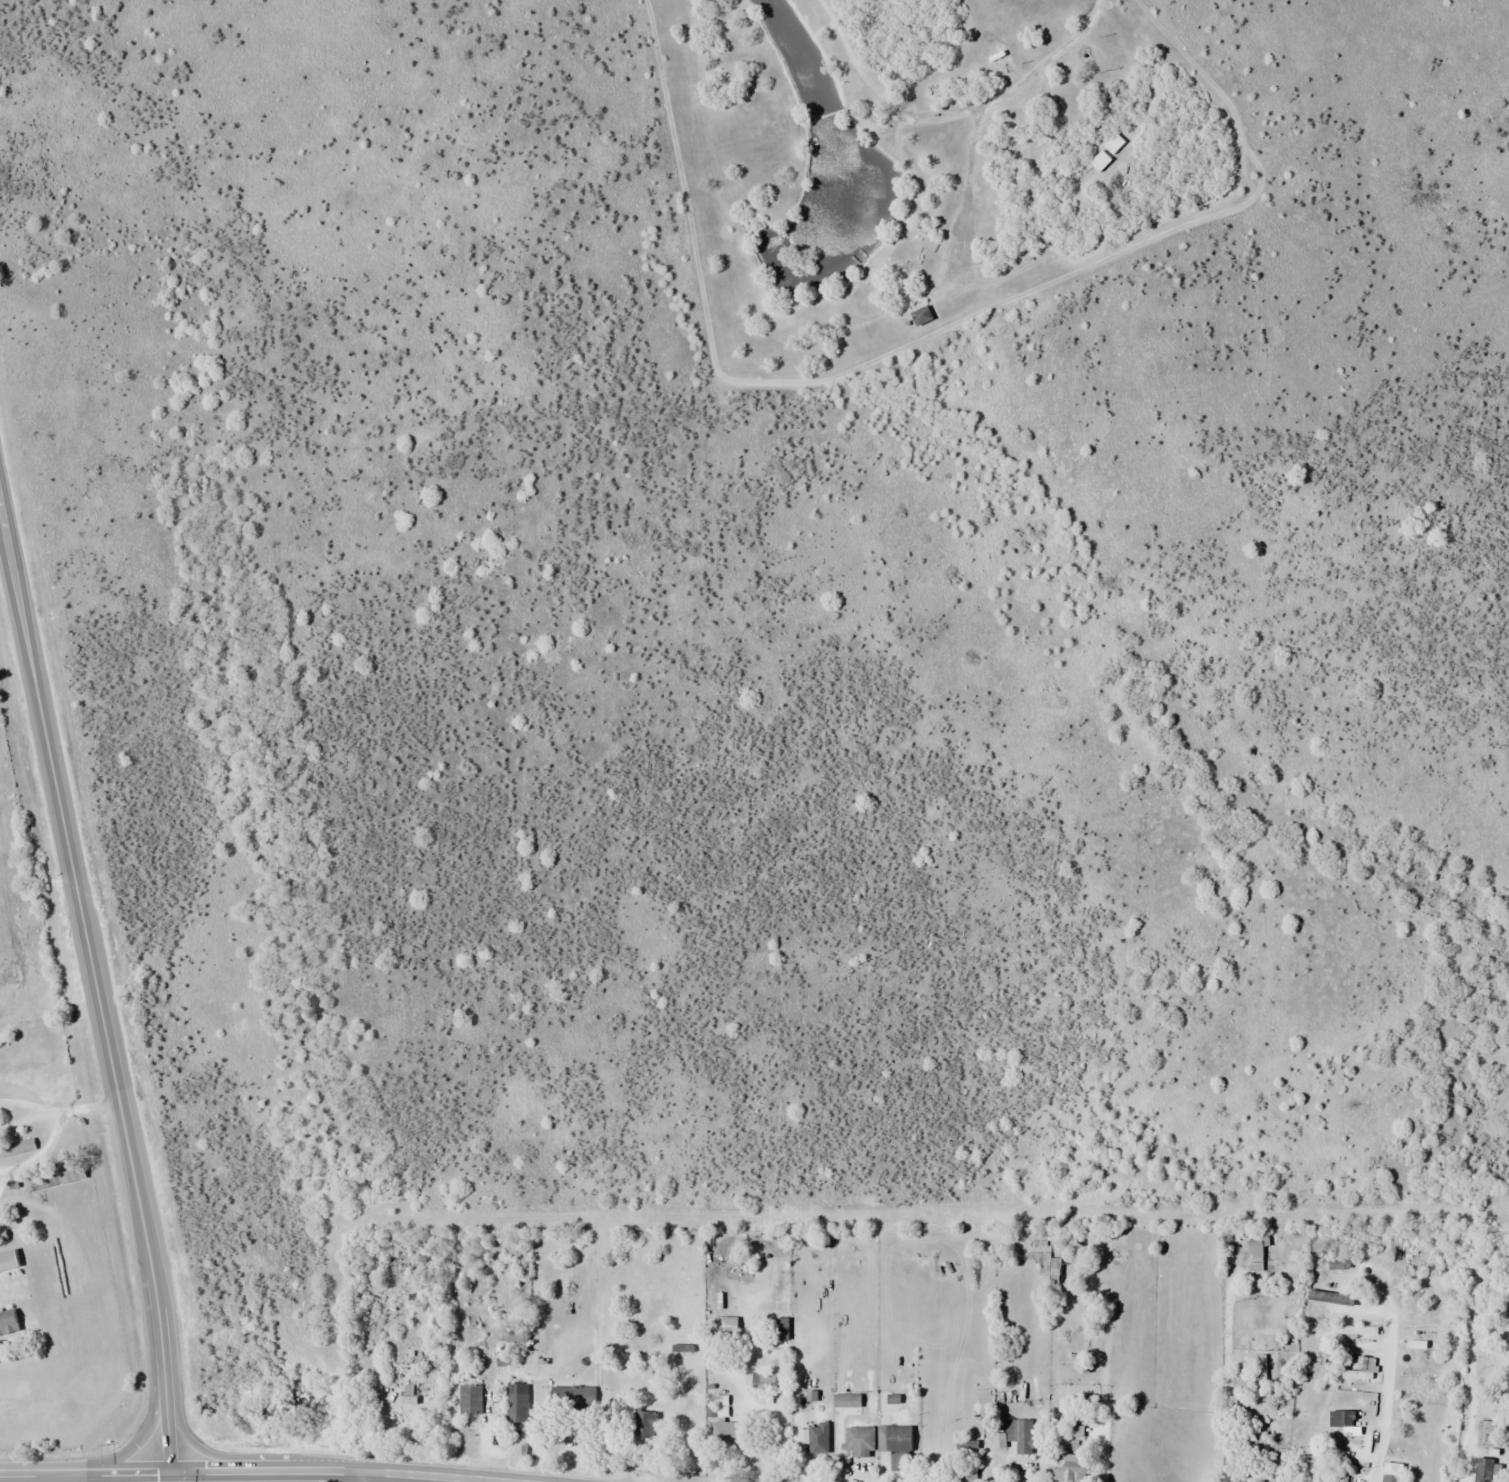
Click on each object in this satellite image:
building: (1113, 143)
building: (1099, 160)
building: (924, 315)
road: (96, 985)
building: (73, 1170)
building: (1255, 1252)
building: (1055, 1273)
building: (1313, 1309)
building: (9, 1321)
building: (724, 1328)
building: (779, 1329)
building: (1354, 1329)
building: (1368, 1364)
building: (571, 1395)
building: (469, 1399)
building: (516, 1402)
road: (156, 1403)
building: (1339, 1419)
building: (644, 1424)
building: (1020, 1434)
building: (814, 1437)
building: (858, 1441)
road: (197, 1446)
building: (897, 1446)
building: (1066, 1468)
building: (1484, 1469)
road: (254, 1471)
building: (1314, 1474)
road: (362, 1477)
building: (1343, 1477)
building: (1389, 1478)

